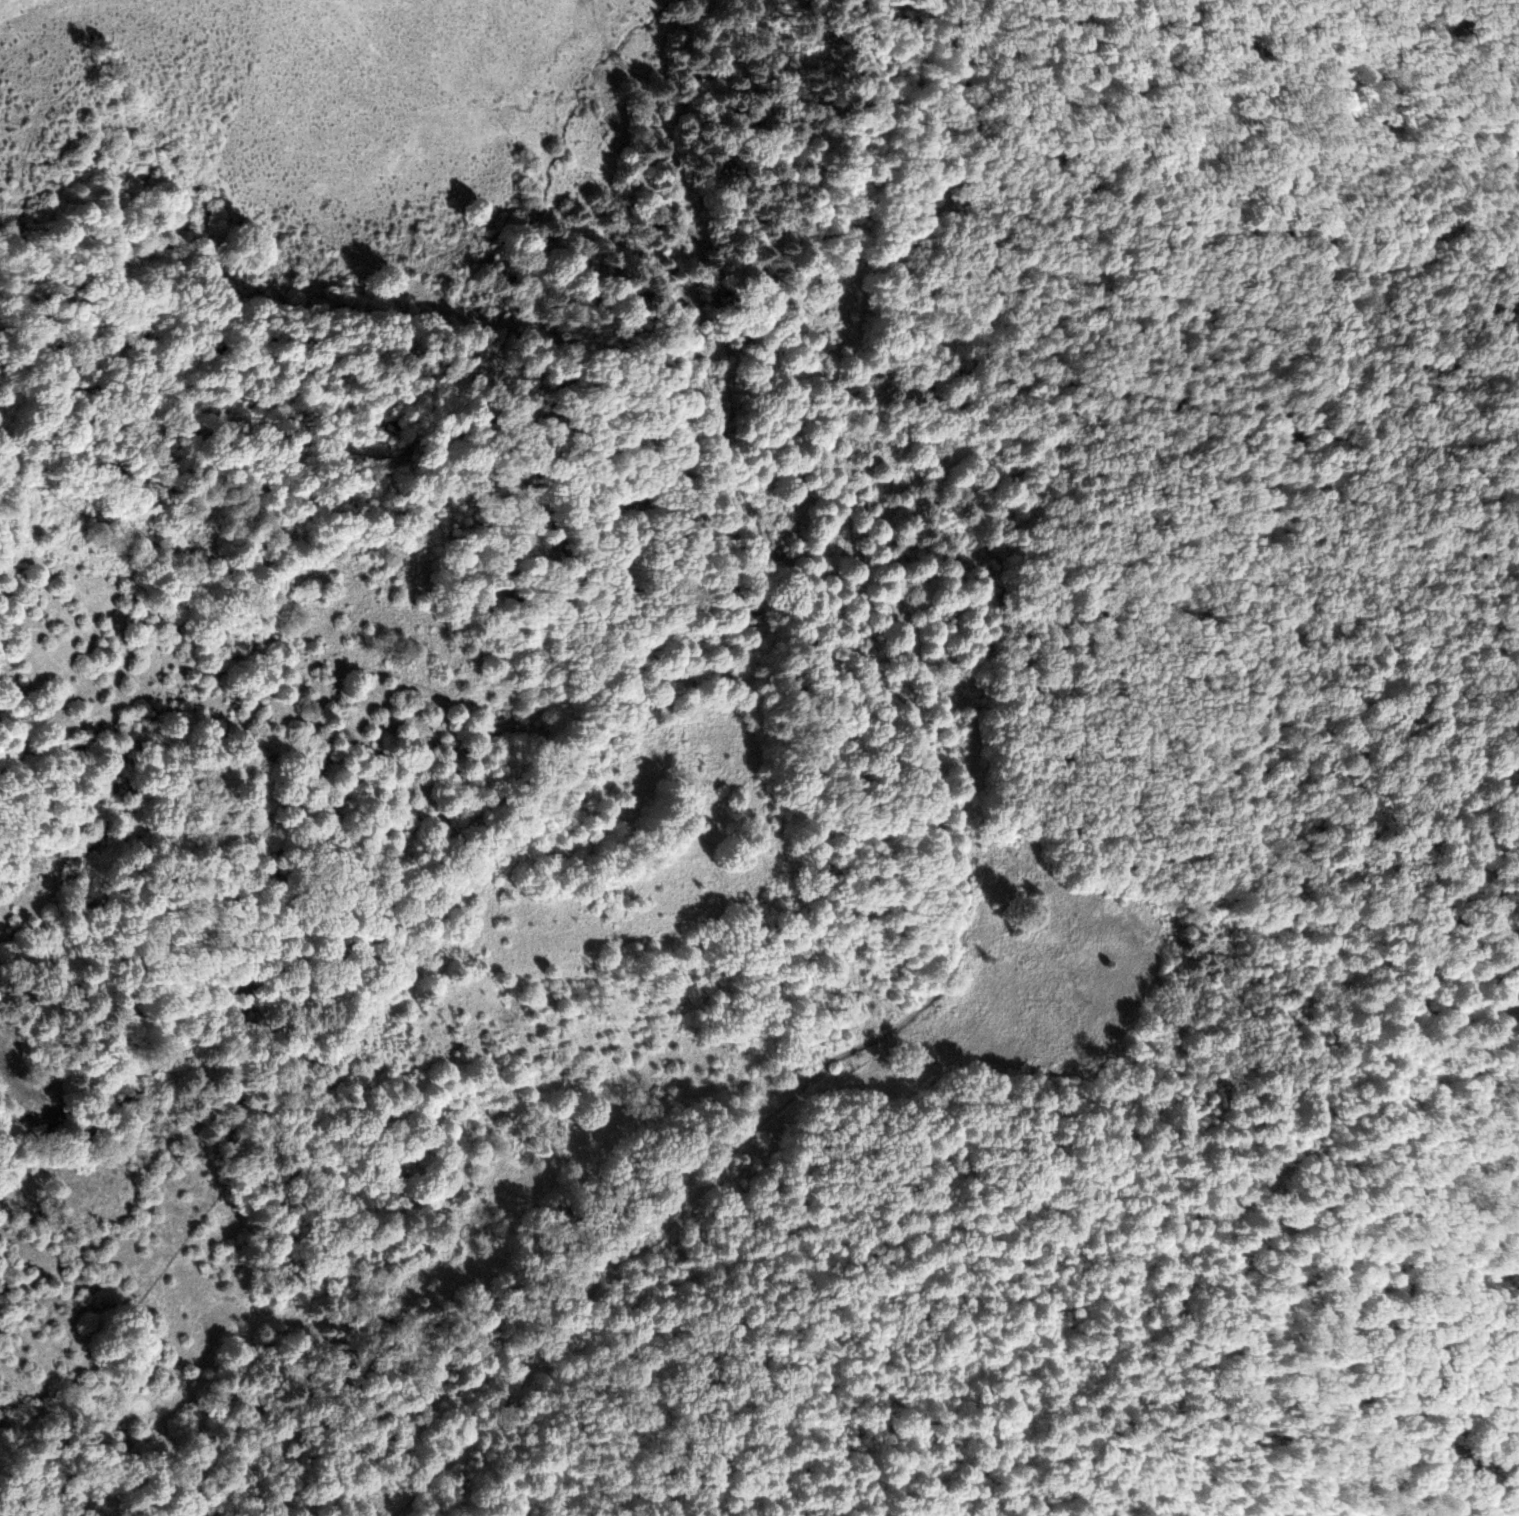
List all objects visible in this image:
road: (1122, 1471)

